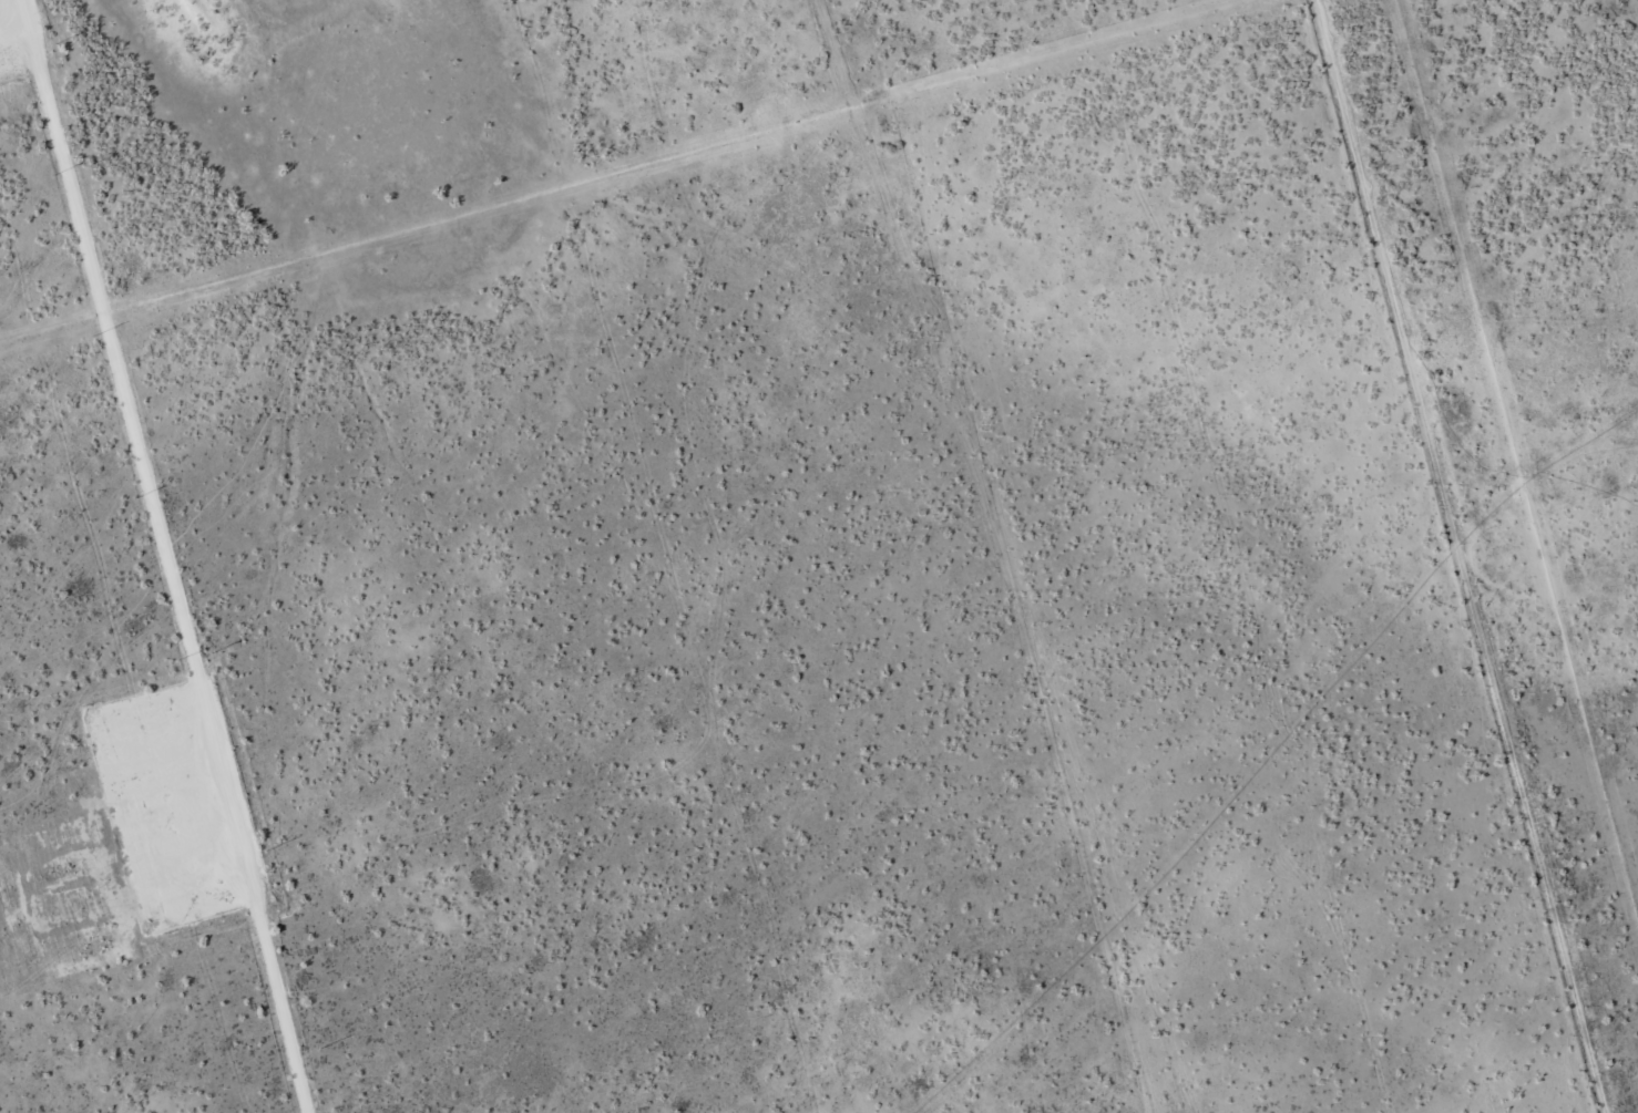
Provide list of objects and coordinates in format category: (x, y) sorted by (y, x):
road: (93, 416)

